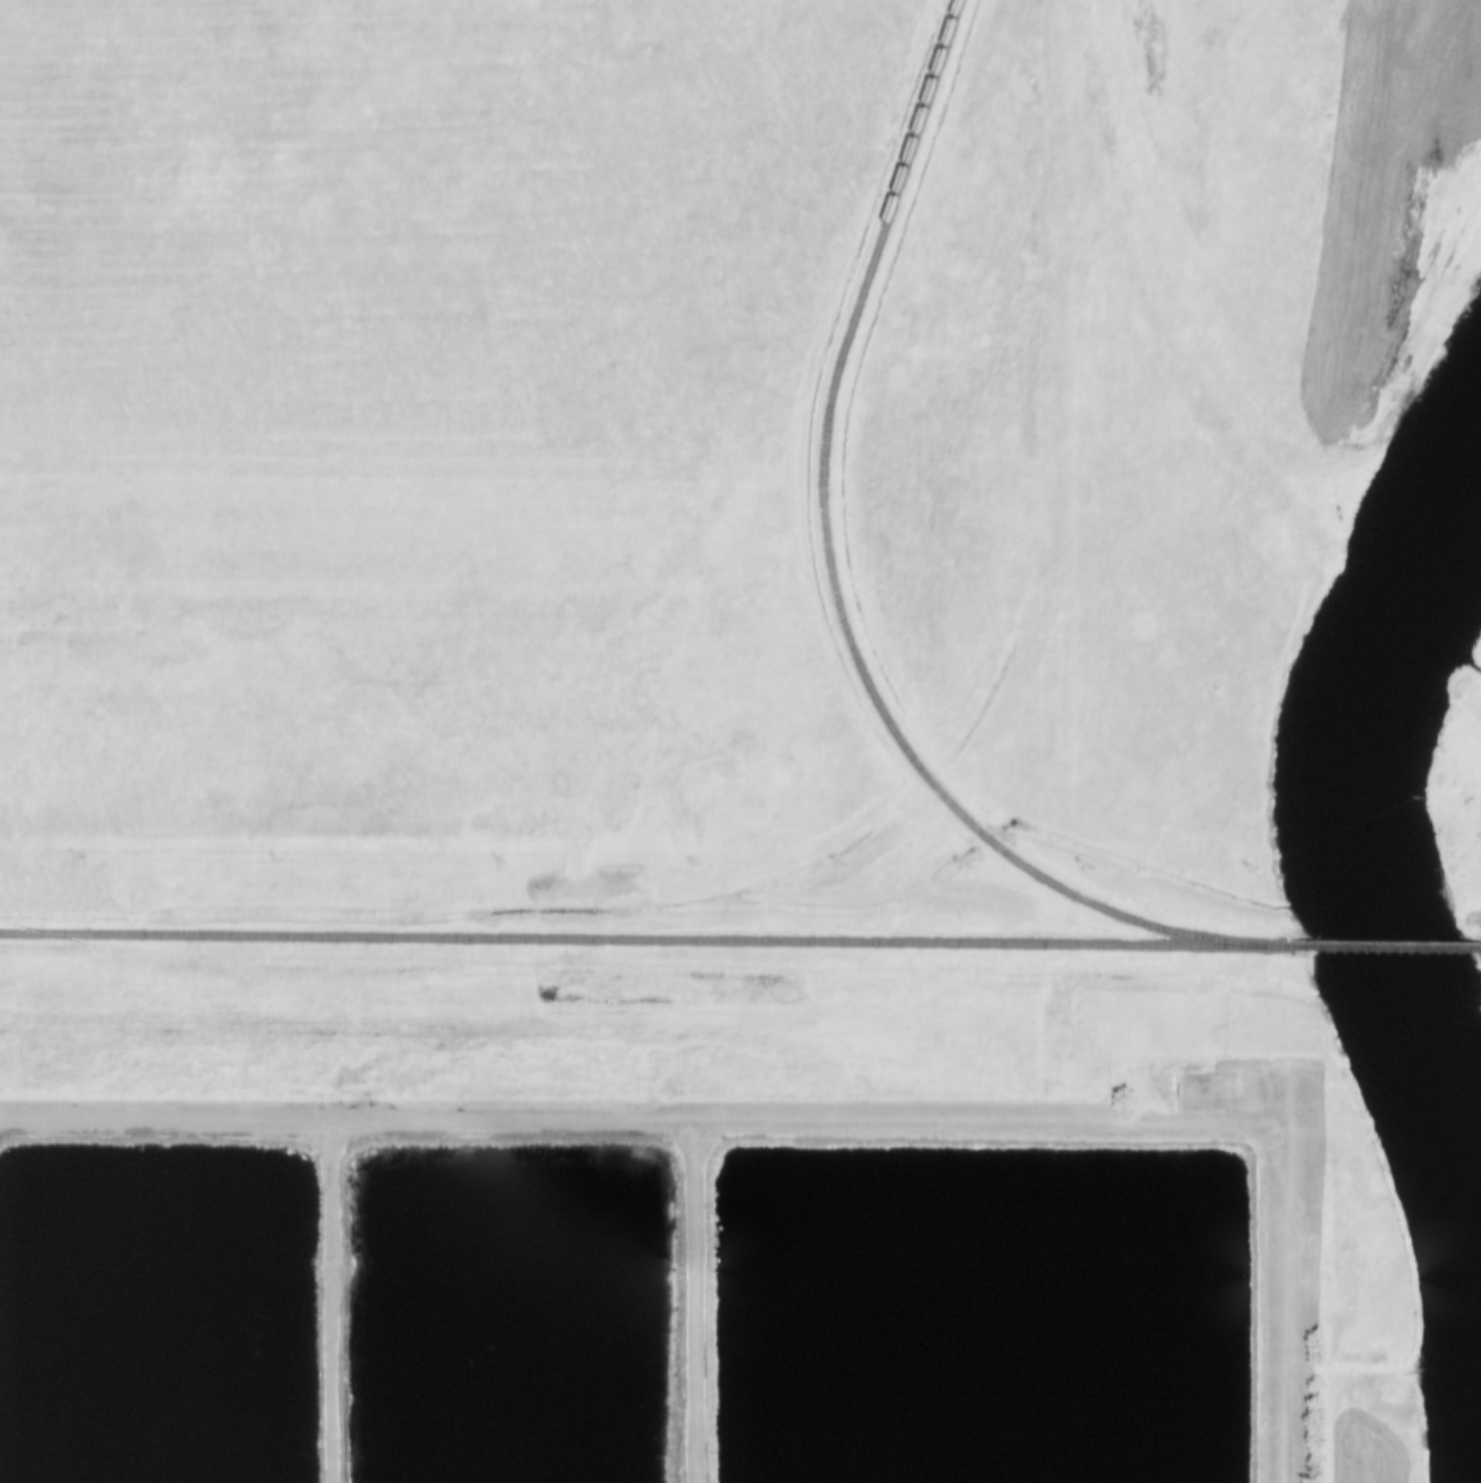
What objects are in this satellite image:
railway: (838, 579)
river: (1376, 860)
railway: (651, 938)
railway: (1392, 946)
road: (810, 1116)
road: (333, 1299)
road: (699, 1299)

